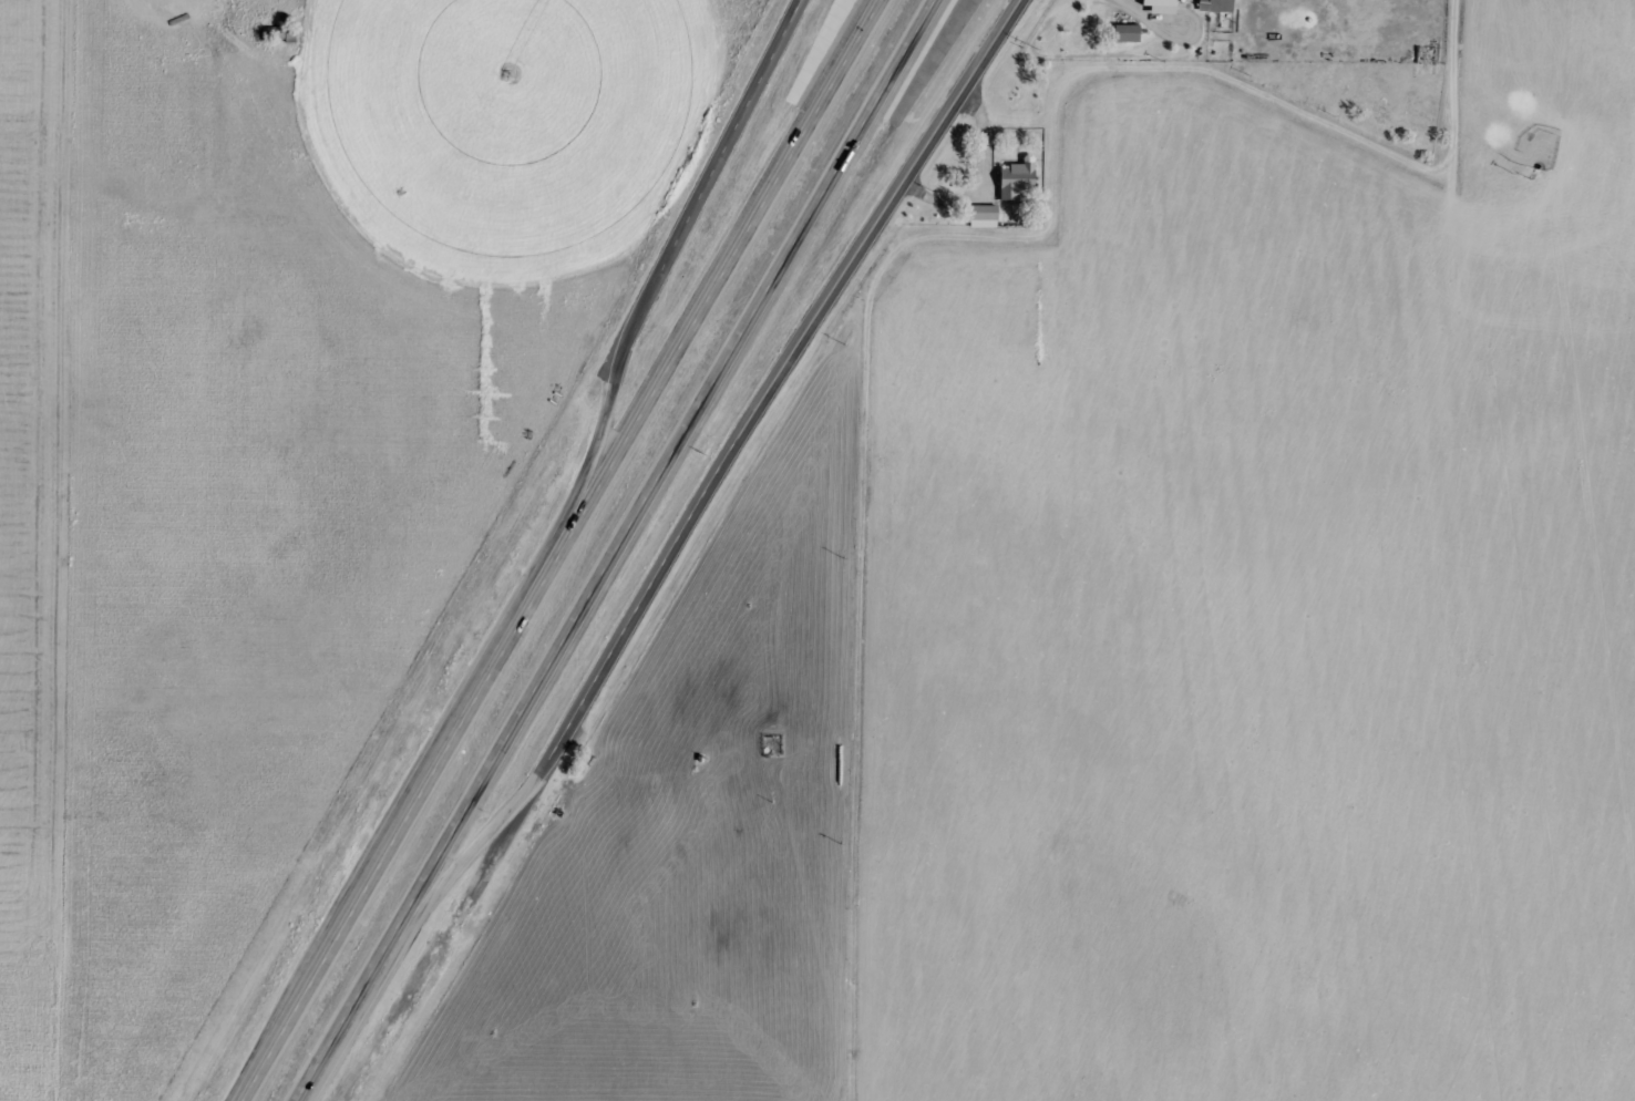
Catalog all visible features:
building: (1218, 6)
building: (1164, 7)
building: (1128, 34)
road: (711, 167)
building: (1017, 181)
building: (986, 217)
road: (774, 381)
road: (585, 470)
road: (562, 548)
road: (621, 549)
road: (862, 663)
road: (448, 876)

